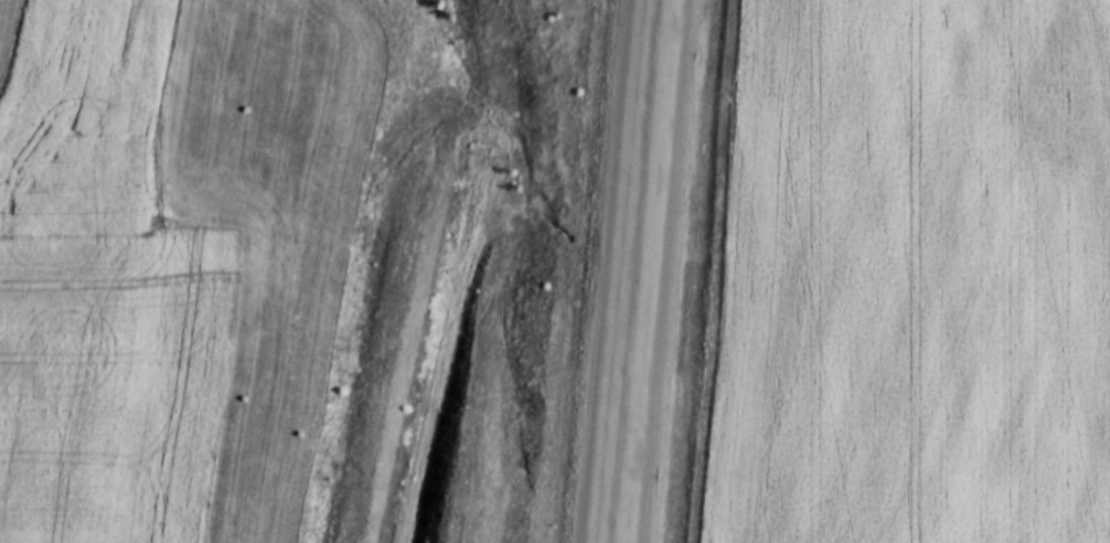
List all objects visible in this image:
road: (634, 270)

